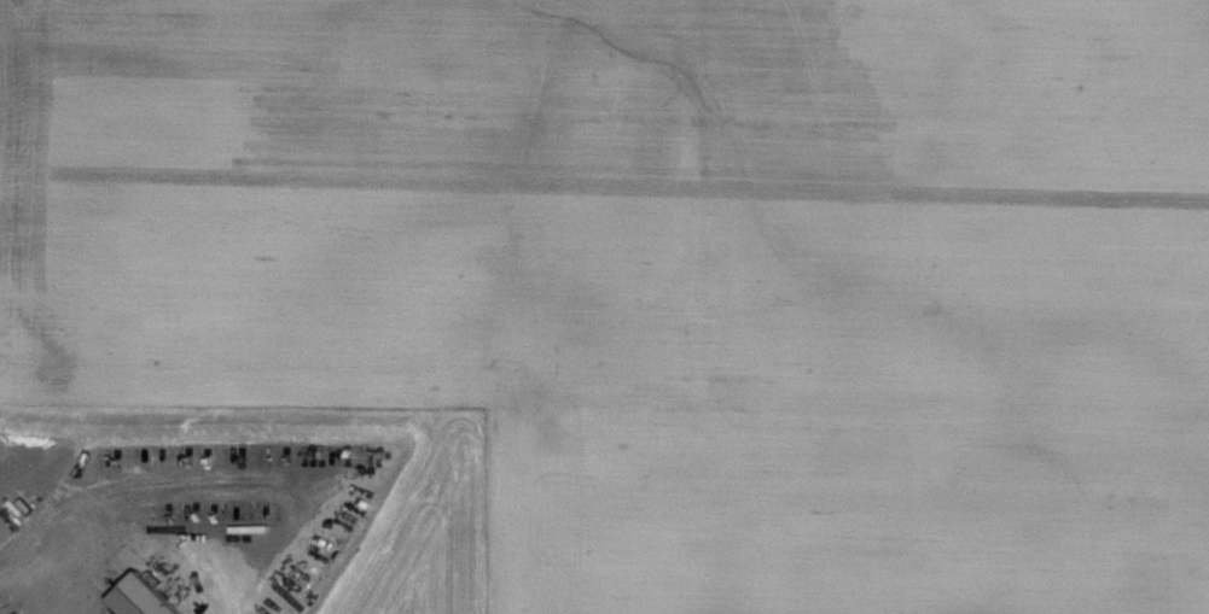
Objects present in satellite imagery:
parking lot: (176, 519)
road: (292, 521)
road: (45, 552)
building: (134, 595)

